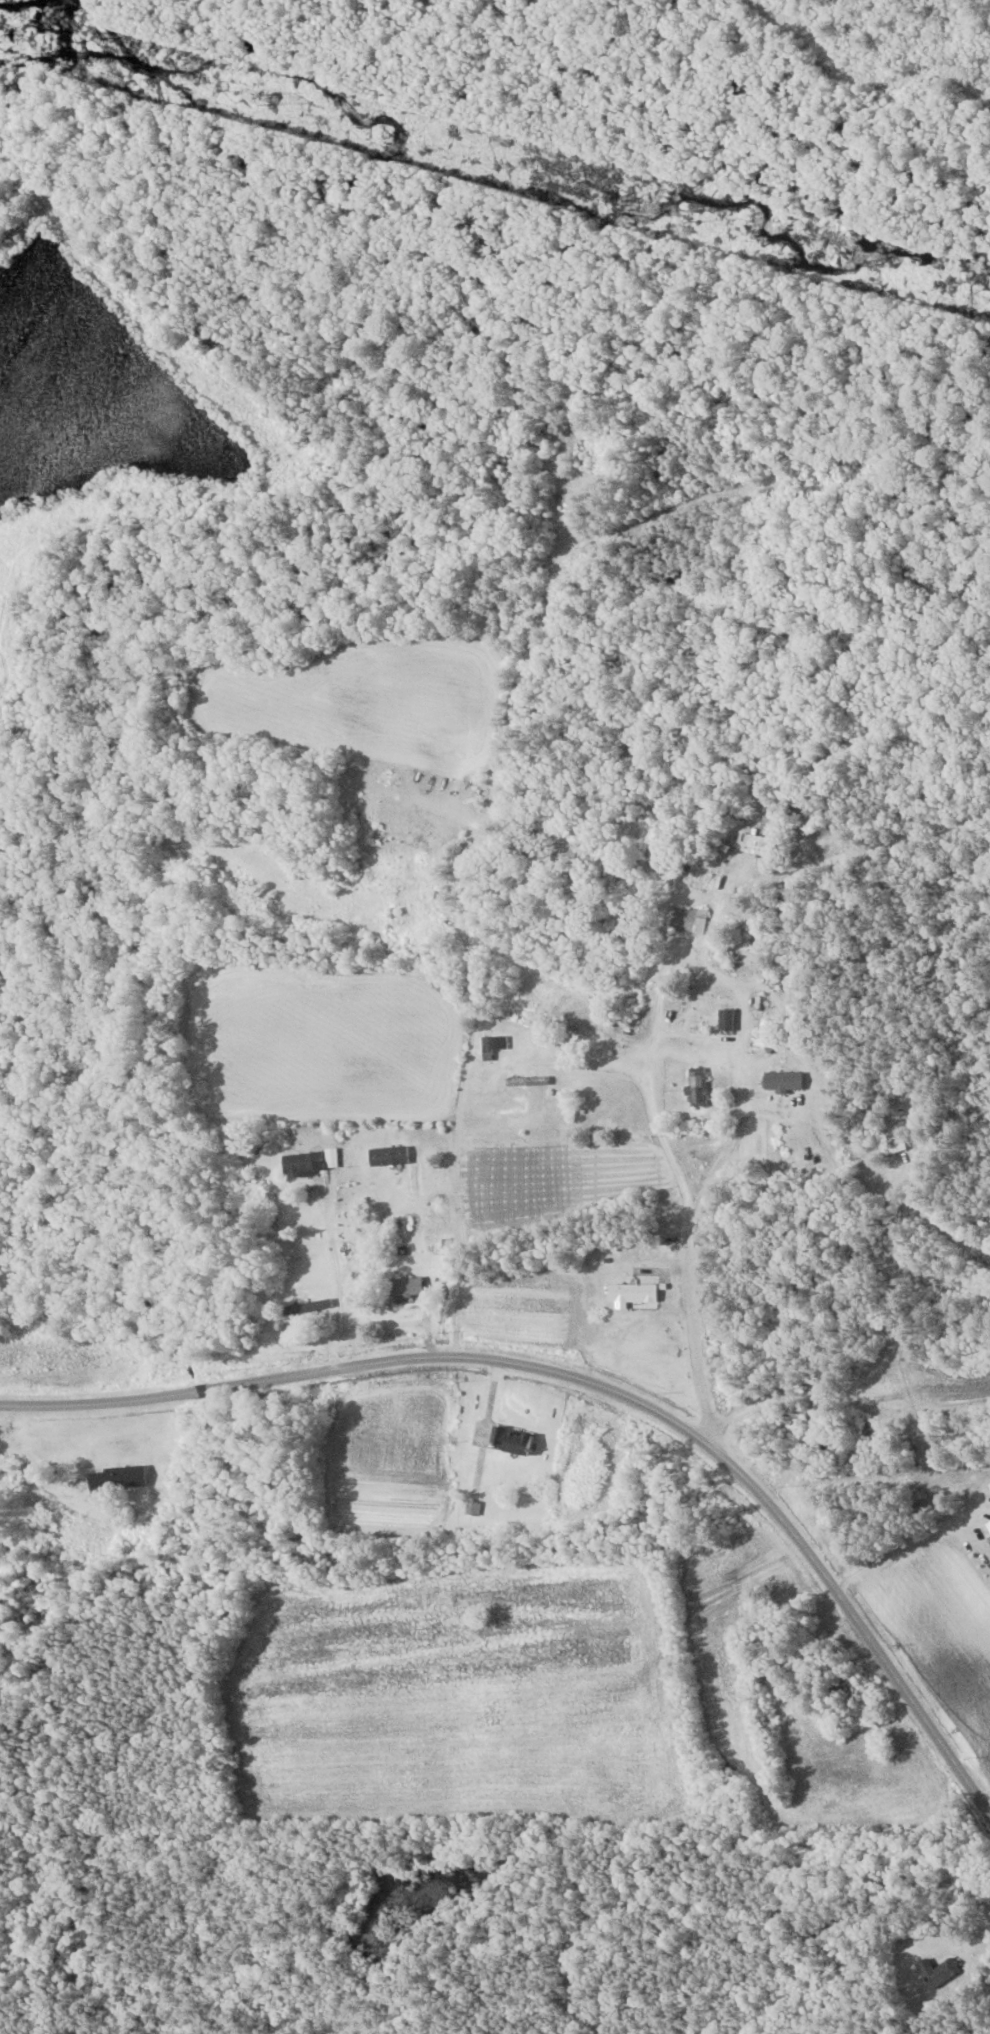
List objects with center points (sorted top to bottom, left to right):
power tower: (270, 97)
power tower: (695, 211)
building: (561, 844)
building: (439, 893)
building: (701, 921)
building: (726, 1019)
building: (760, 1039)
building: (494, 1045)
building: (528, 1080)
building: (783, 1081)
building: (697, 1086)
building: (890, 1150)
building: (390, 1155)
building: (311, 1161)
road: (724, 1260)
road: (339, 1275)
building: (407, 1286)
building: (633, 1293)
building: (309, 1307)
road: (978, 1307)
road: (591, 1382)
road: (799, 1386)
building: (513, 1439)
building: (6, 1471)
building: (117, 1476)
building: (474, 1507)
building: (989, 1523)
building: (843, 1685)
building: (940, 1970)

